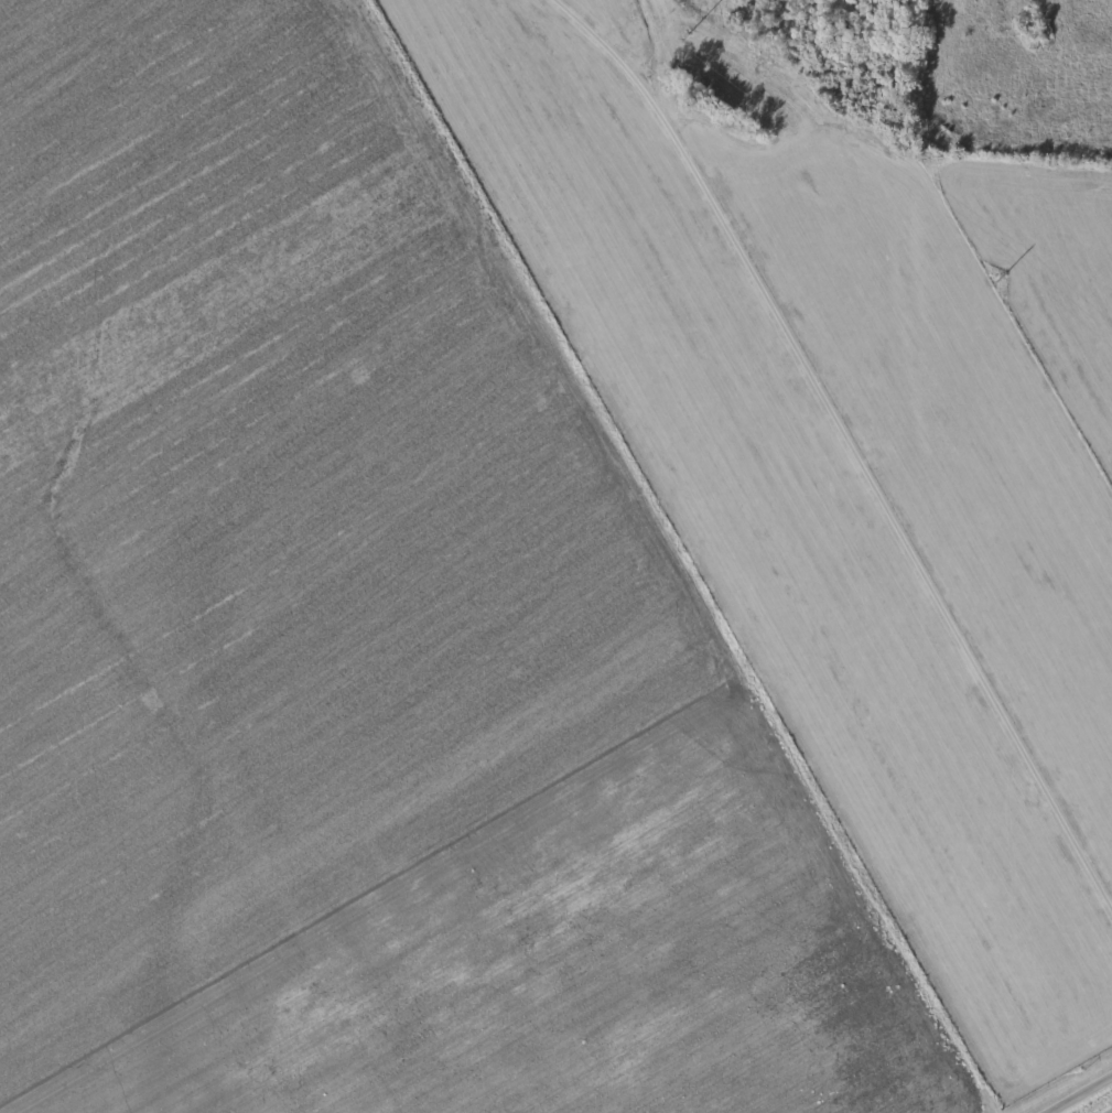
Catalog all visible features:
road: (851, 441)
road: (1082, 1096)

